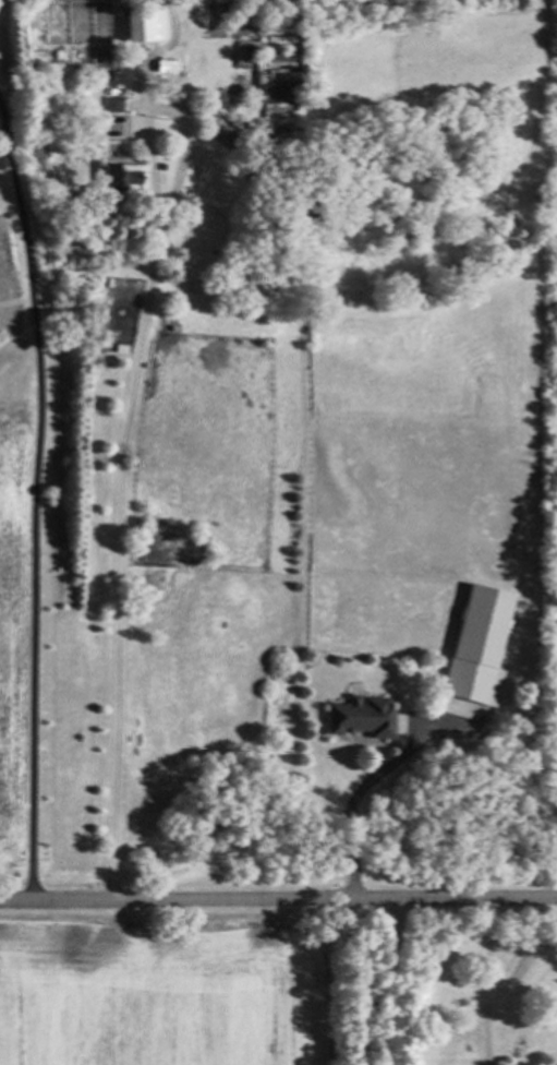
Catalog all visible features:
building: (142, 25)
building: (112, 104)
building: (119, 178)
road: (123, 418)
road: (36, 502)
building: (477, 647)
building: (360, 718)
road: (352, 818)
road: (278, 899)
road: (485, 981)
road: (385, 983)

